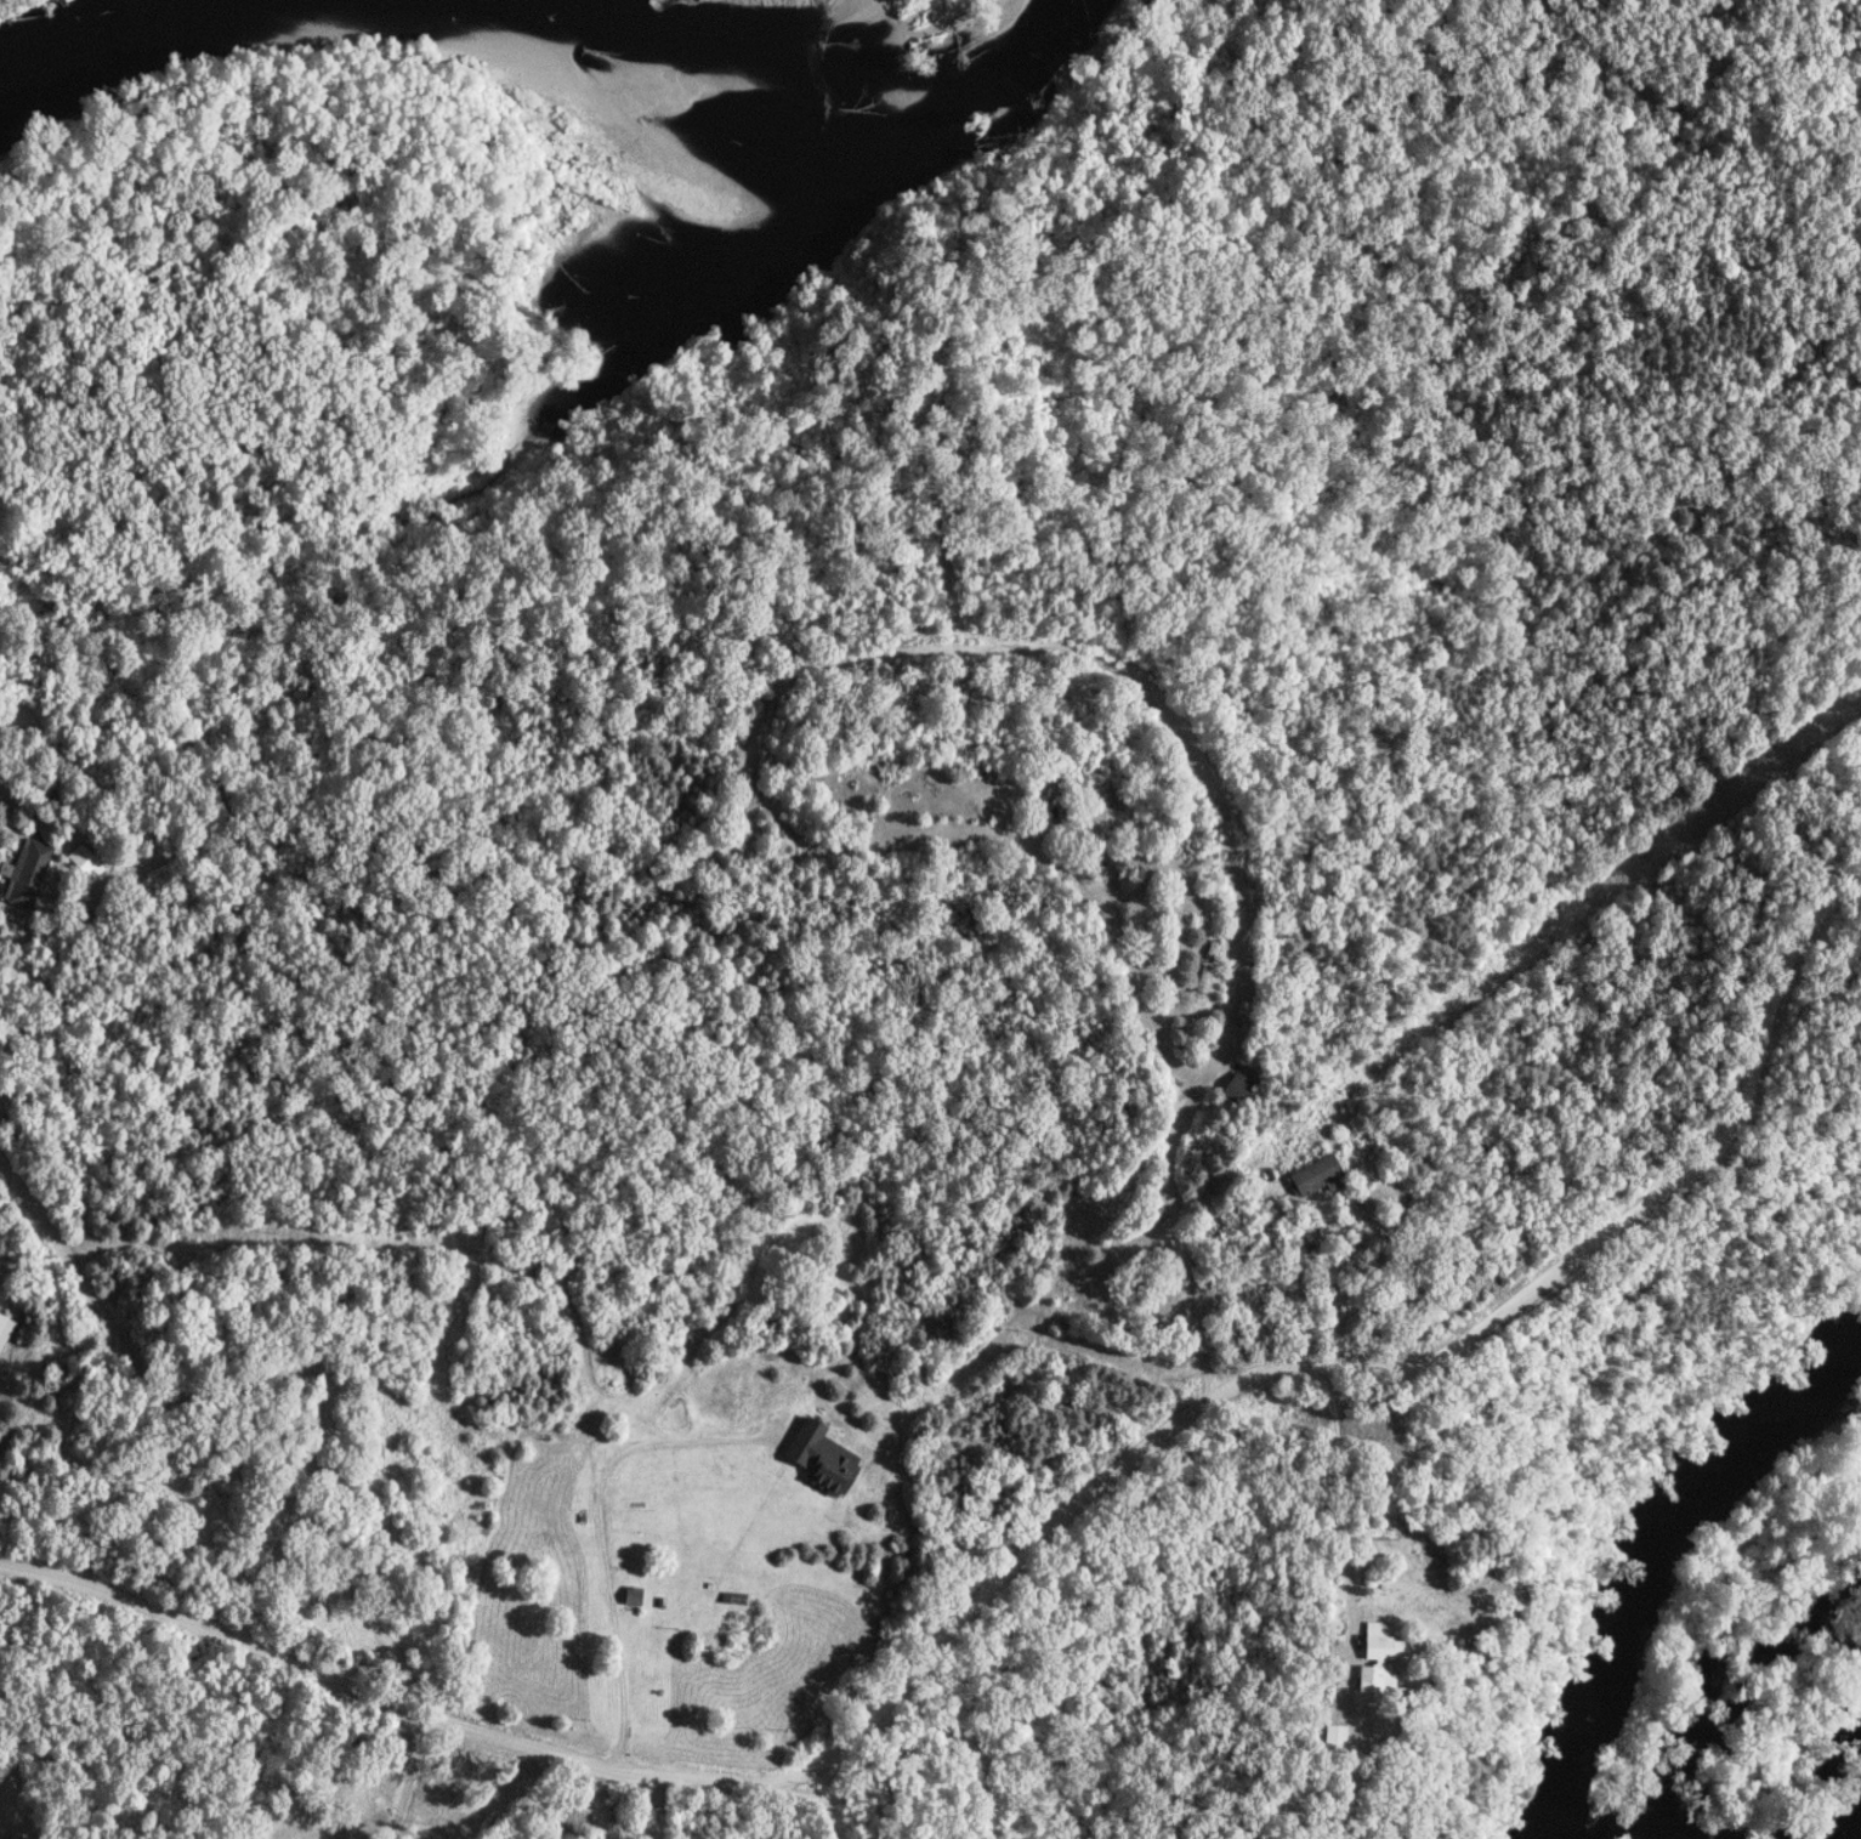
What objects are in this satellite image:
river: (535, 51)
building: (28, 873)
road: (732, 1018)
building: (1242, 1089)
building: (1320, 1177)
building: (6, 1330)
road: (289, 1366)
building: (827, 1458)
road: (1341, 1512)
road: (598, 1529)
river: (1645, 1534)
road: (1022, 1557)
building: (637, 1597)
building: (1384, 1667)
road: (404, 1778)
road: (652, 1806)
road: (770, 1810)
road: (980, 1822)

